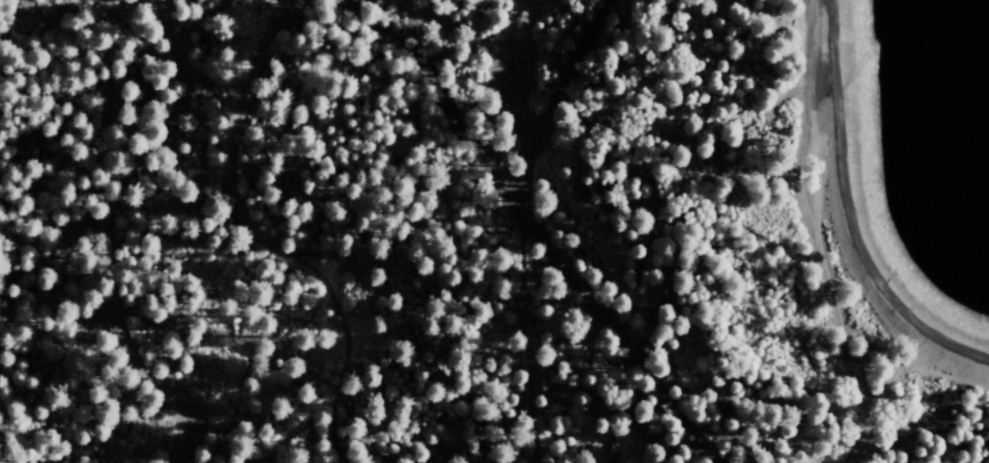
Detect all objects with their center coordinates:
road: (556, 99)
road: (522, 123)
road: (229, 196)
road: (837, 218)
dam: (875, 220)
road: (530, 226)
road: (102, 234)
road: (803, 234)
road: (520, 325)
road: (844, 448)
road: (858, 448)

